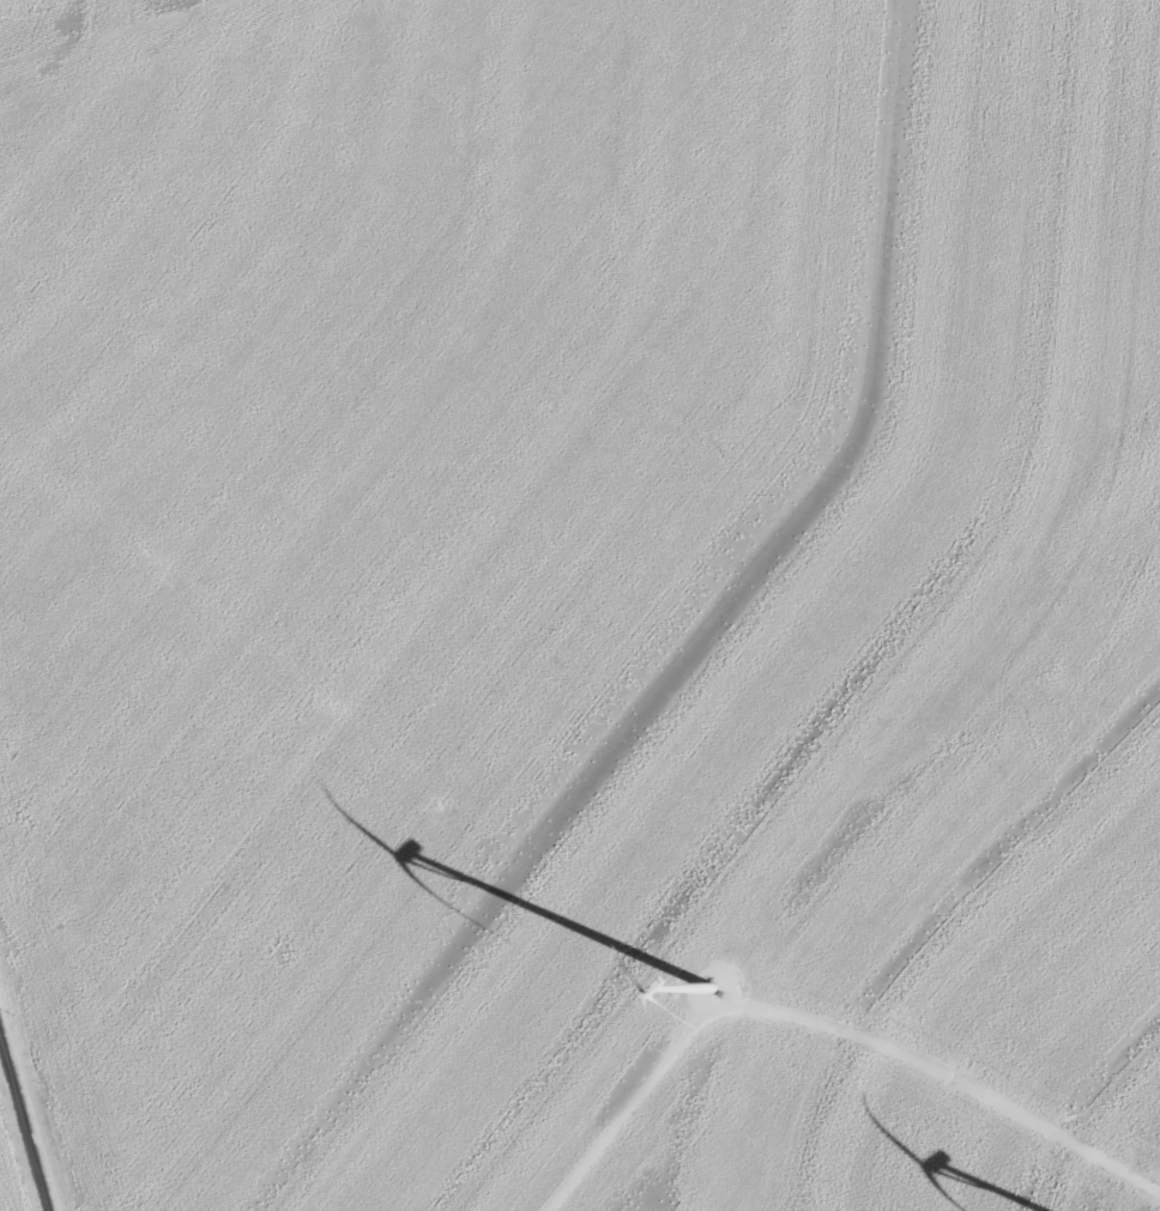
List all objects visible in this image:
wind turbine: (705, 1003)
road: (824, 1025)
road: (23, 1128)

